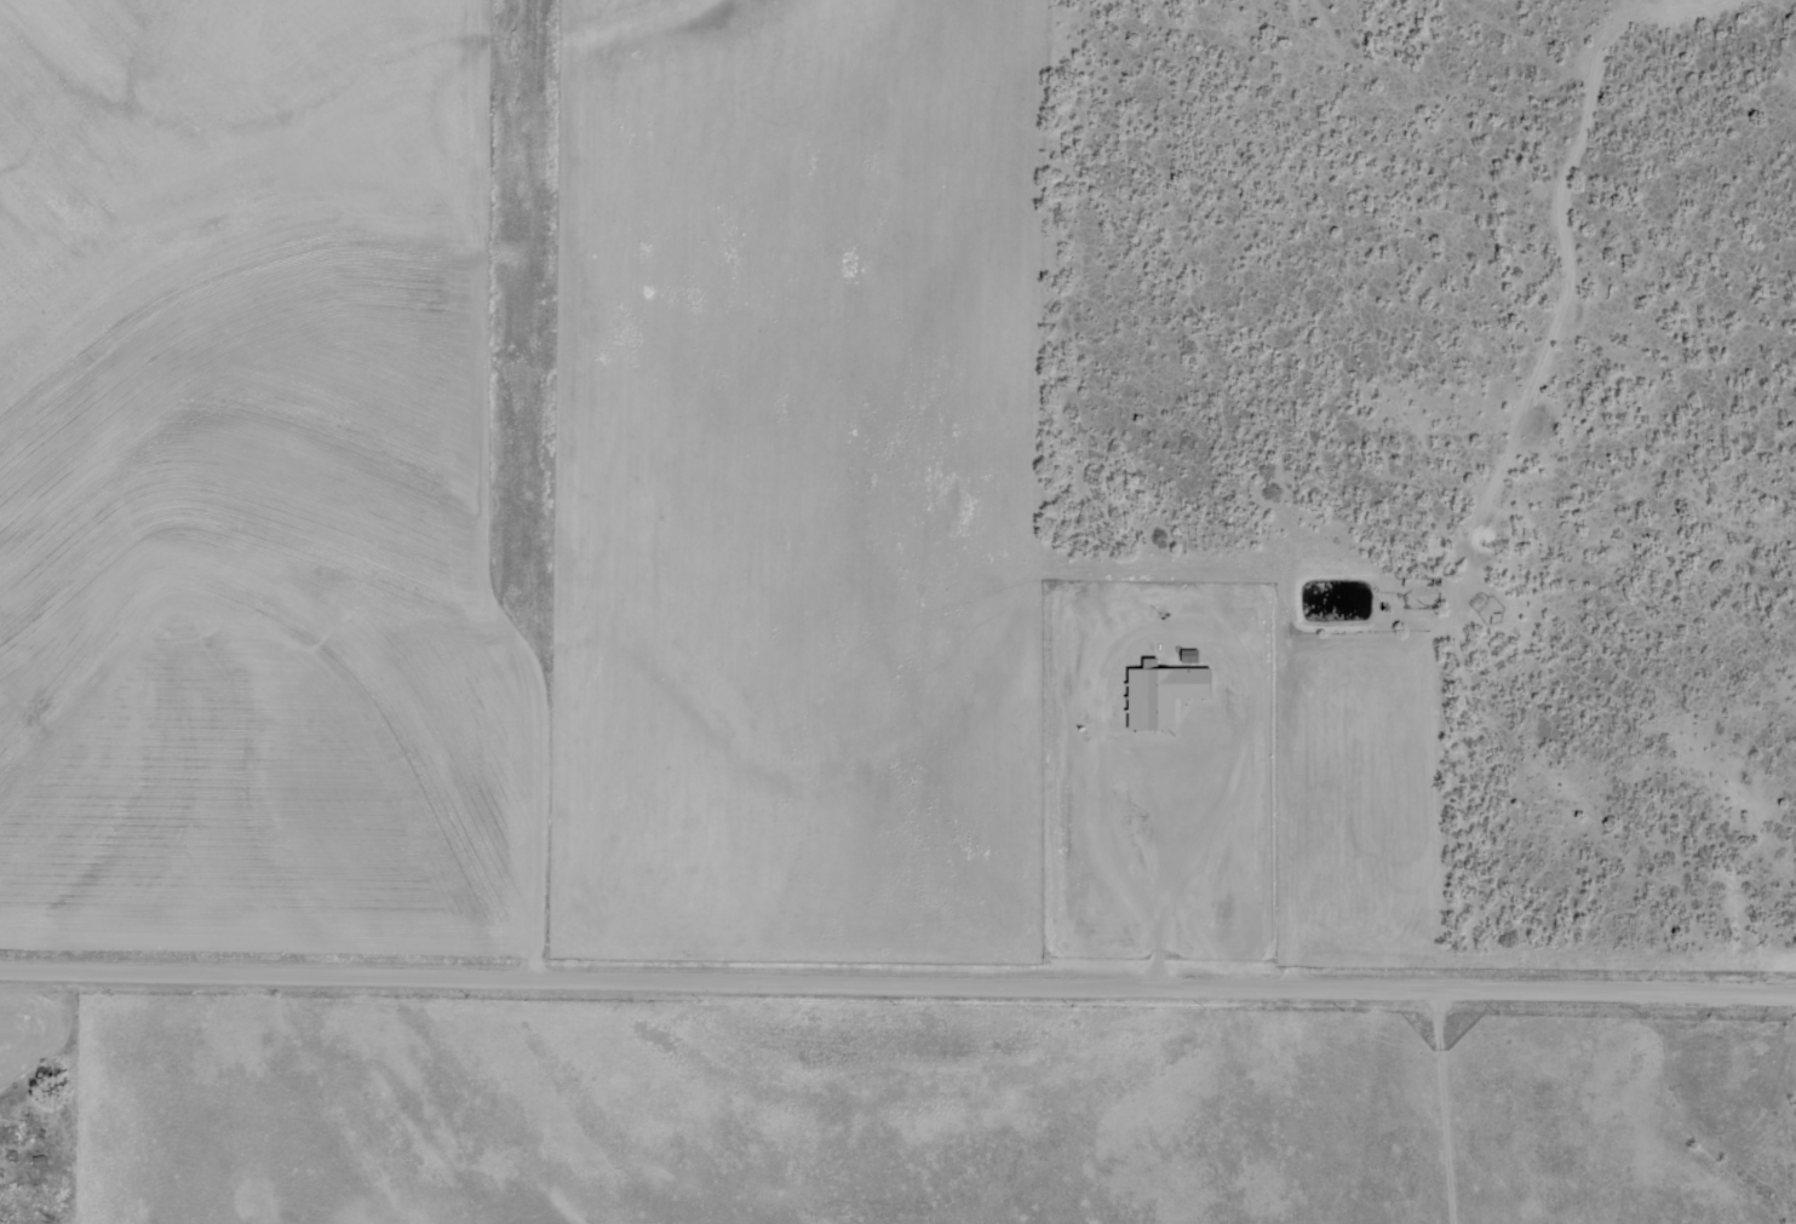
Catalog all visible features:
road: (1481, 577)
building: (1159, 694)
road: (897, 975)

